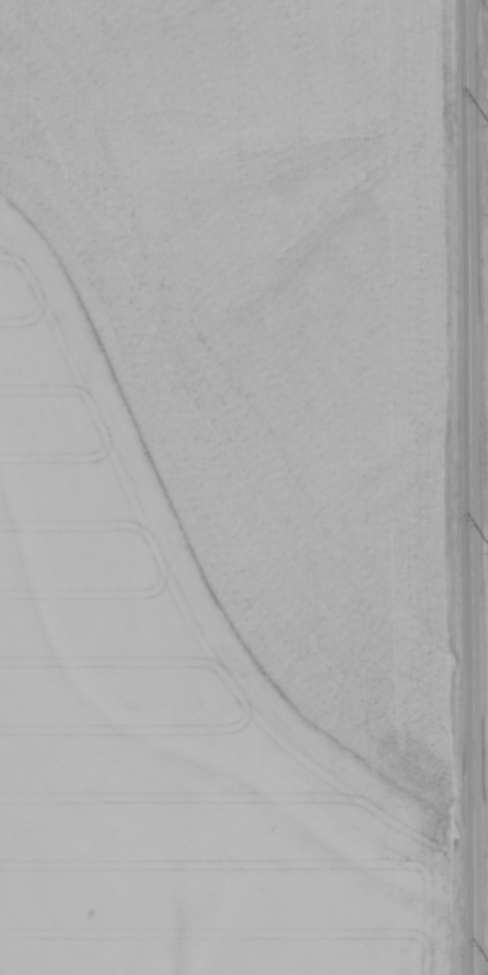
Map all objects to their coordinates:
road: (469, 487)
crop: (230, 489)
road: (480, 825)

